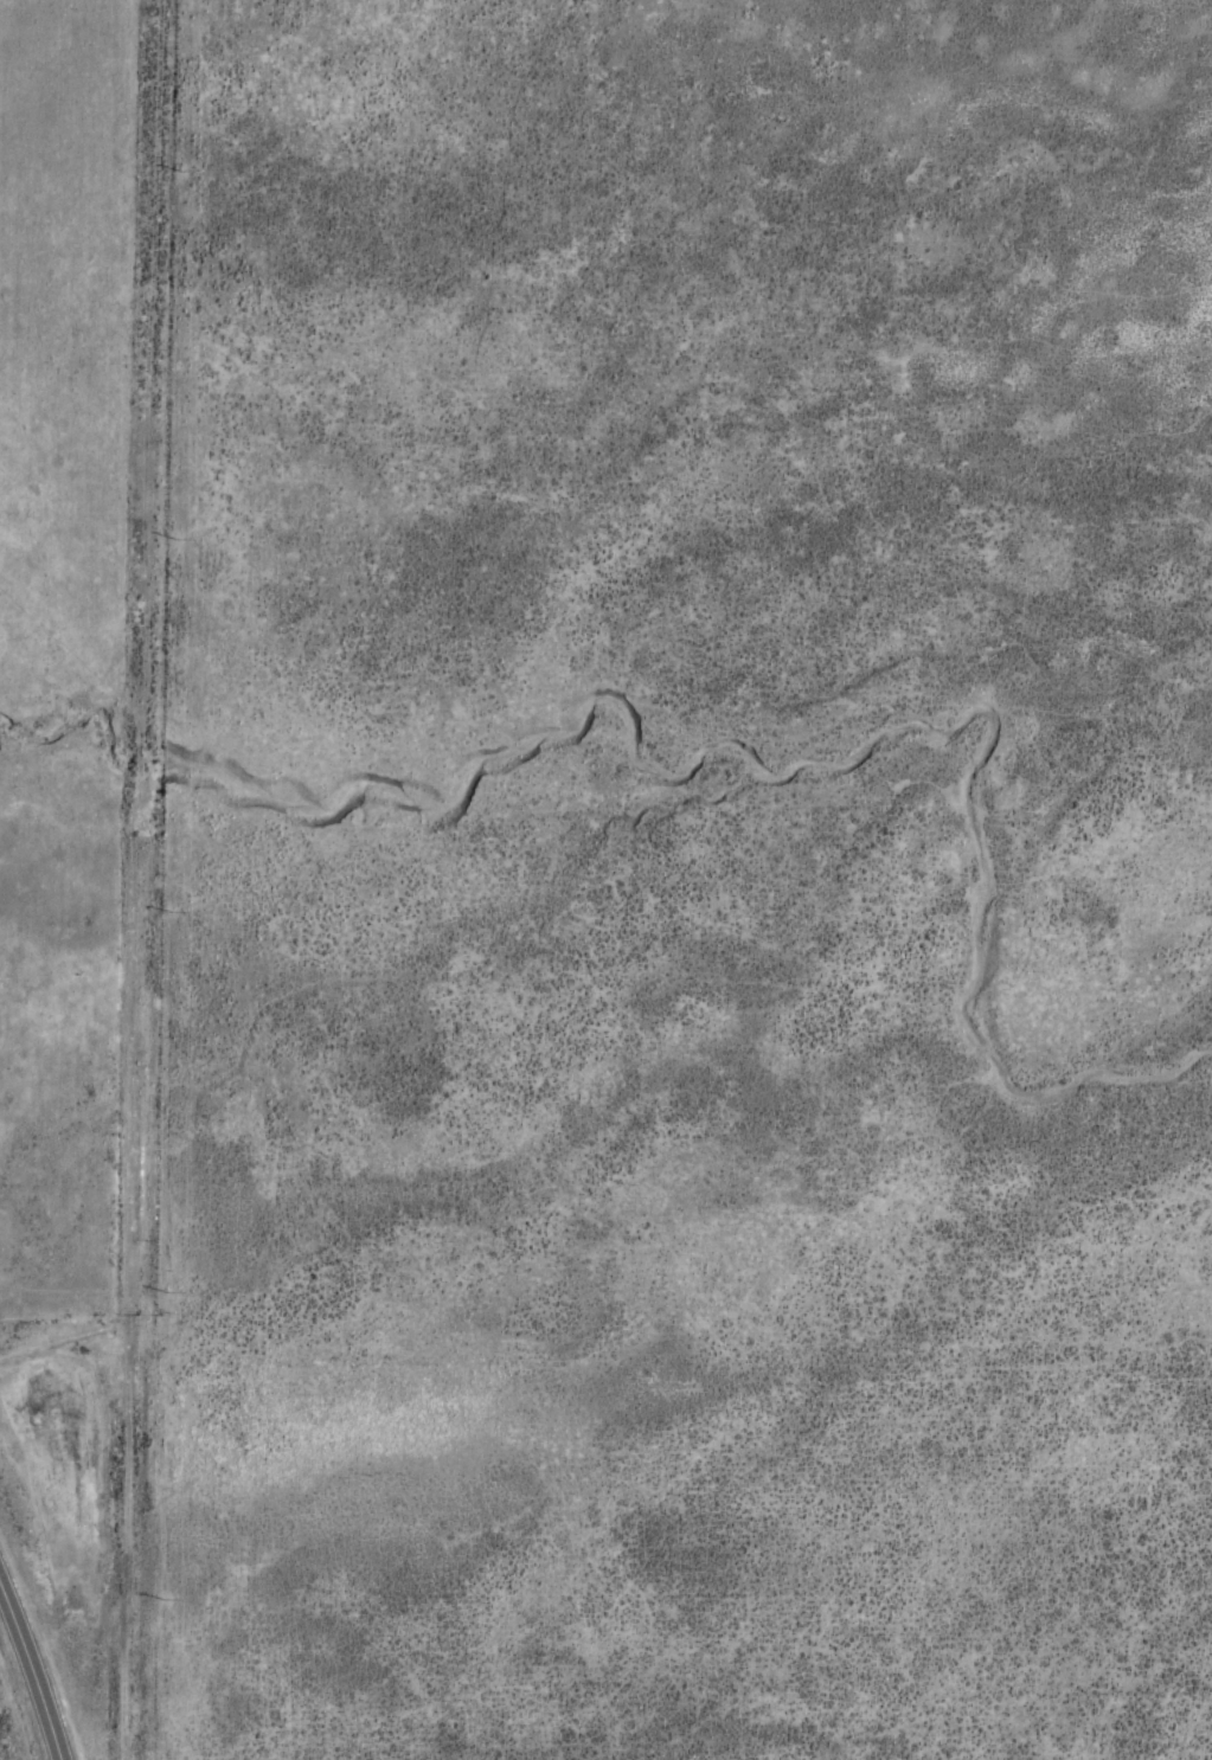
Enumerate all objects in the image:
road: (172, 880)
crop: (605, 880)
road: (24, 1696)

